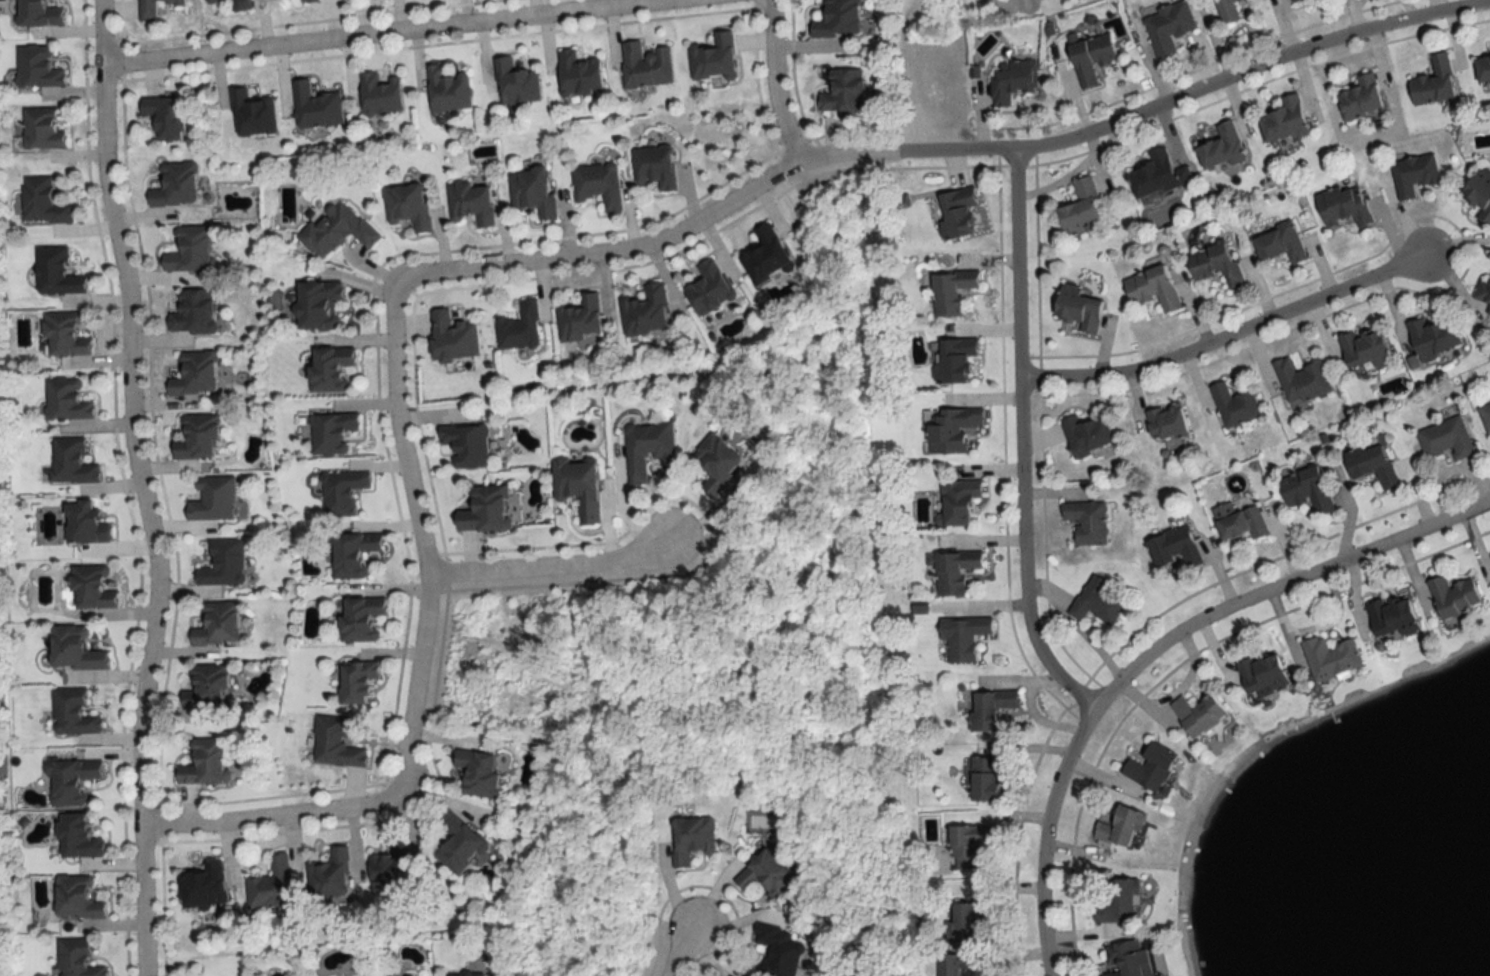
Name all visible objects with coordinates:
building: (307, 1)
building: (1294, 1)
building: (238, 5)
building: (150, 8)
building: (1227, 11)
building: (37, 13)
building: (836, 19)
building: (1167, 27)
road: (388, 32)
building: (1090, 57)
building: (713, 58)
building: (644, 66)
building: (37, 67)
building: (1483, 70)
building: (577, 74)
building: (1013, 81)
building: (514, 82)
building: (1433, 82)
road: (776, 84)
building: (446, 89)
building: (843, 92)
building: (379, 94)
building: (1359, 99)
building: (315, 107)
building: (251, 114)
building: (163, 116)
building: (1283, 121)
building: (41, 129)
building: (1221, 148)
road: (926, 152)
building: (653, 167)
building: (1157, 175)
building: (1413, 175)
building: (175, 185)
building: (597, 185)
building: (531, 193)
building: (1479, 193)
building: (41, 202)
building: (470, 204)
building: (406, 206)
building: (1343, 206)
building: (1079, 208)
building: (956, 213)
building: (335, 229)
building: (1280, 244)
building: (189, 251)
building: (765, 257)
building: (1214, 264)
building: (55, 273)
building: (708, 289)
building: (1152, 289)
building: (950, 292)
building: (1483, 292)
building: (317, 304)
building: (1079, 308)
building: (645, 311)
building: (192, 312)
building: (579, 319)
building: (519, 327)
road: (1229, 335)
building: (63, 336)
building: (451, 337)
building: (1432, 337)
building: (1364, 348)
building: (955, 361)
building: (327, 368)
building: (194, 374)
building: (1301, 380)
building: (66, 400)
building: (1234, 405)
building: (1485, 417)
building: (1165, 422)
building: (951, 429)
building: (331, 433)
building: (1086, 435)
building: (194, 436)
building: (1445, 439)
road: (1022, 442)
building: (464, 445)
building: (646, 448)
building: (70, 462)
building: (715, 463)
building: (1371, 465)
road: (145, 487)
building: (577, 487)
building: (1305, 491)
building: (341, 492)
building: (211, 499)
building: (957, 501)
building: (484, 510)
building: (1238, 521)
building: (1086, 522)
building: (83, 523)
building: (1174, 549)
building: (352, 554)
building: (222, 564)
road: (558, 564)
building: (953, 571)
building: (90, 587)
building: (1452, 597)
building: (1096, 602)
building: (1391, 617)
building: (360, 619)
building: (216, 624)
building: (962, 637)
road: (1156, 648)
building: (73, 649)
building: (1328, 658)
building: (1260, 675)
building: (355, 682)
road: (418, 683)
building: (204, 687)
building: (991, 709)
building: (71, 713)
building: (1196, 714)
building: (334, 743)
building: (204, 763)
building: (1149, 767)
building: (476, 773)
building: (985, 779)
building: (70, 780)
building: (1119, 828)
building: (76, 837)
building: (691, 838)
building: (457, 844)
building: (970, 845)
building: (390, 865)
building: (329, 875)
building: (765, 875)
building: (270, 886)
building: (203, 887)
building: (76, 898)
building: (1116, 903)
building: (960, 922)
road: (684, 944)
building: (777, 951)
building: (75, 958)
building: (1128, 959)
building: (955, 964)
building: (461, 975)

